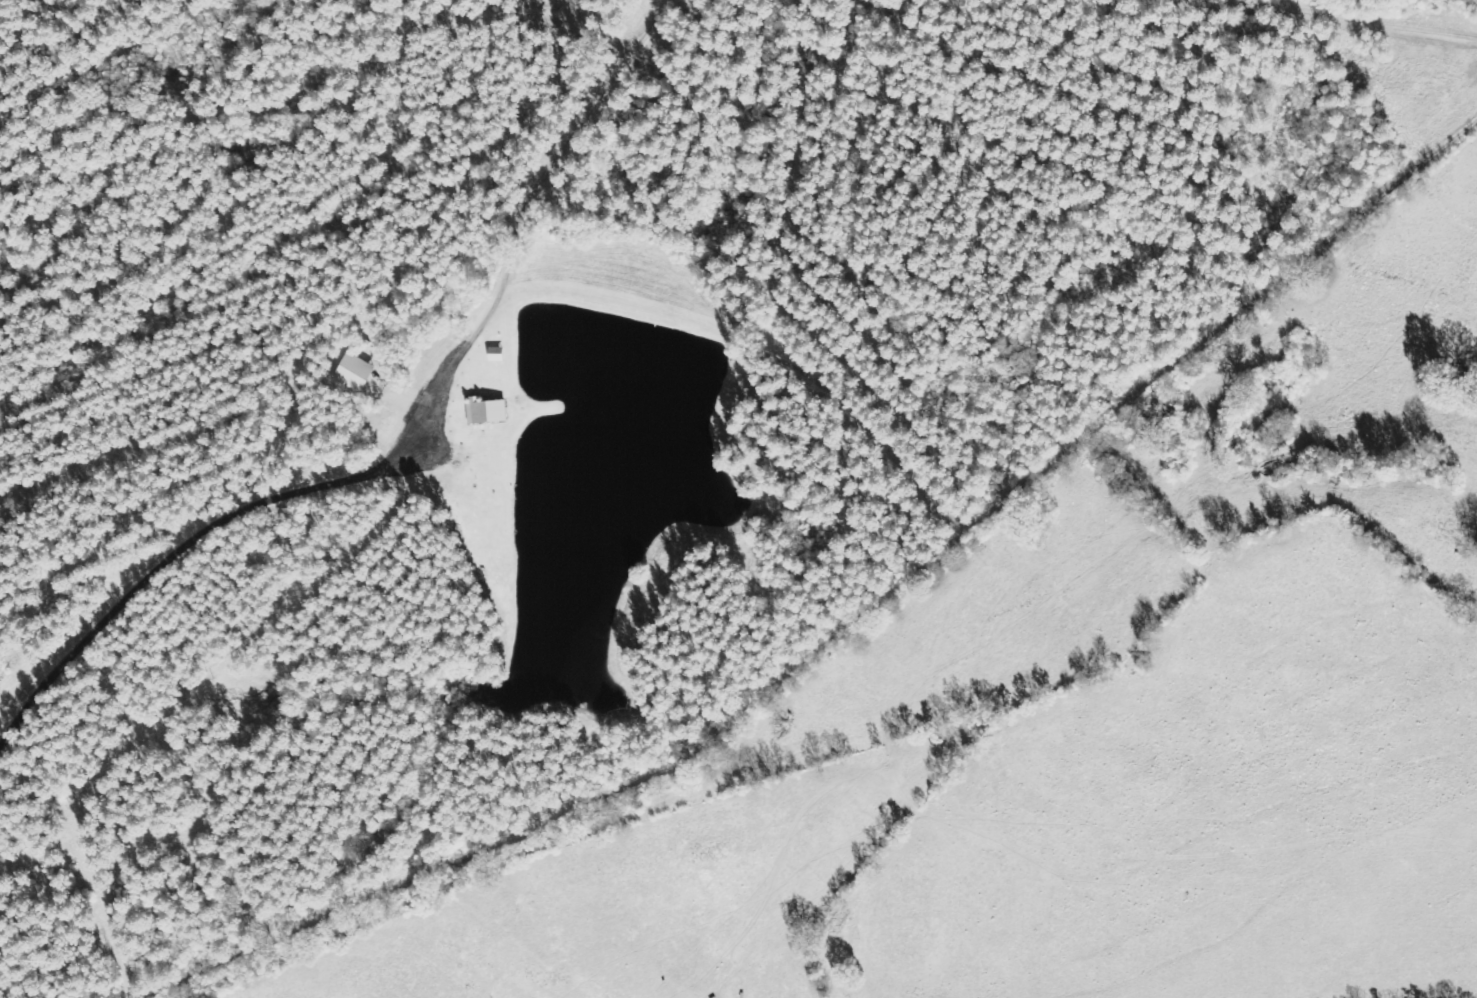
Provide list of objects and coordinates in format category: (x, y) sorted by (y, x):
building: (357, 373)
building: (490, 411)

